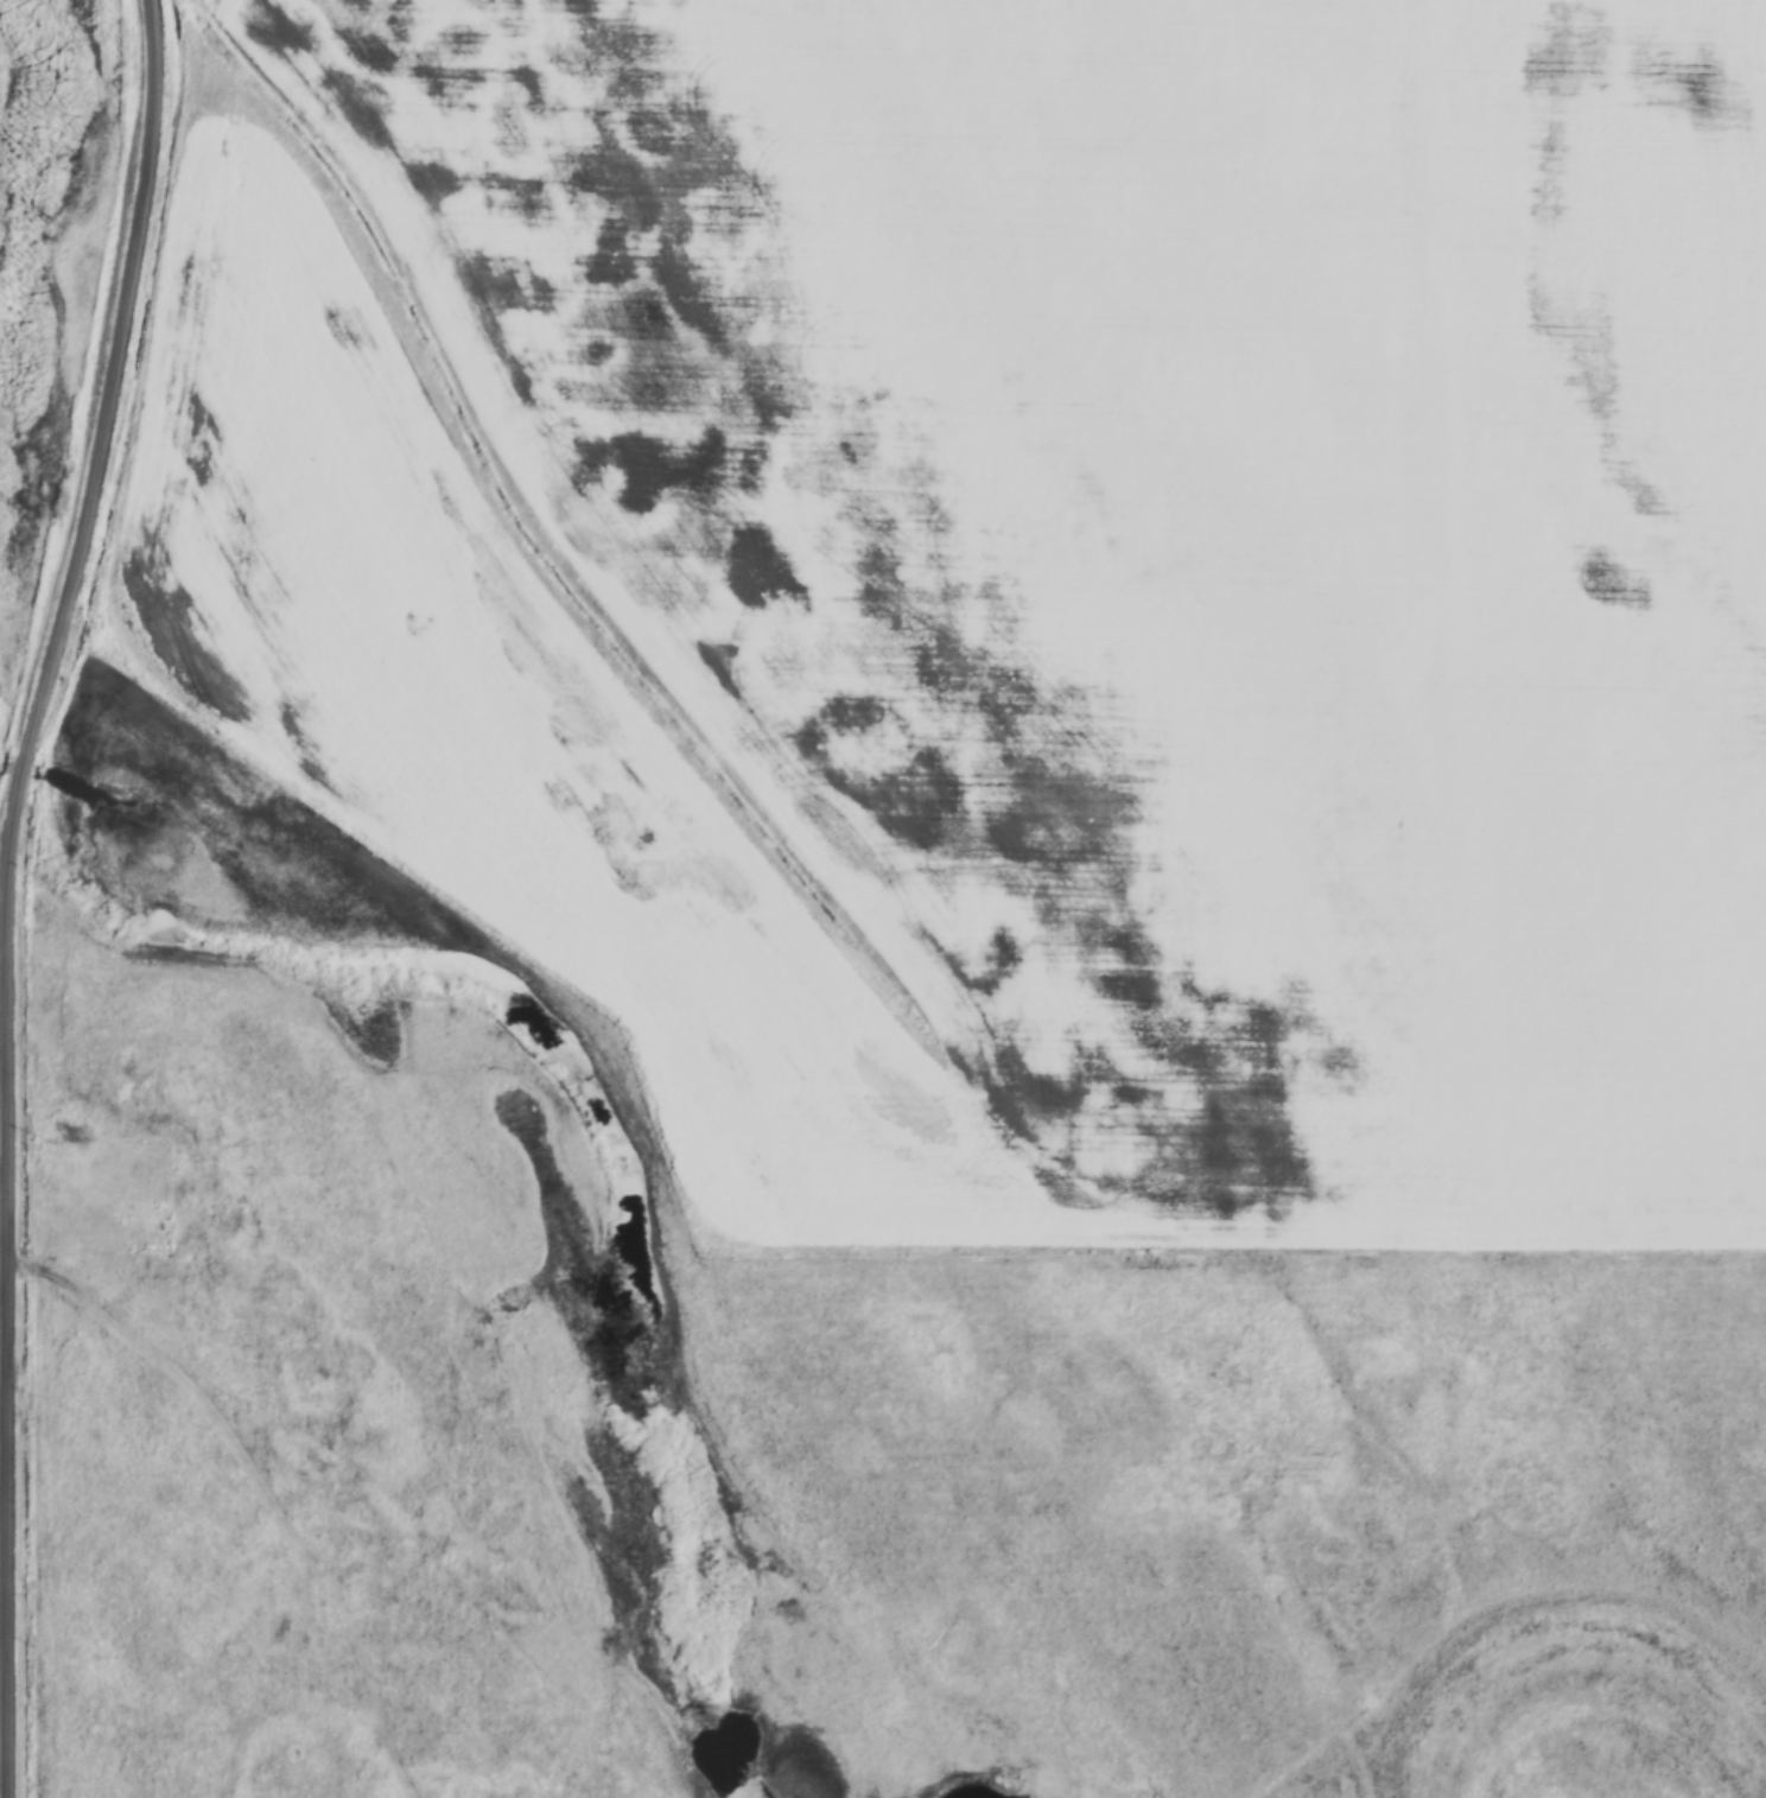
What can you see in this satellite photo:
road: (5, 890)
road: (2, 1178)
building: (135, 1342)

